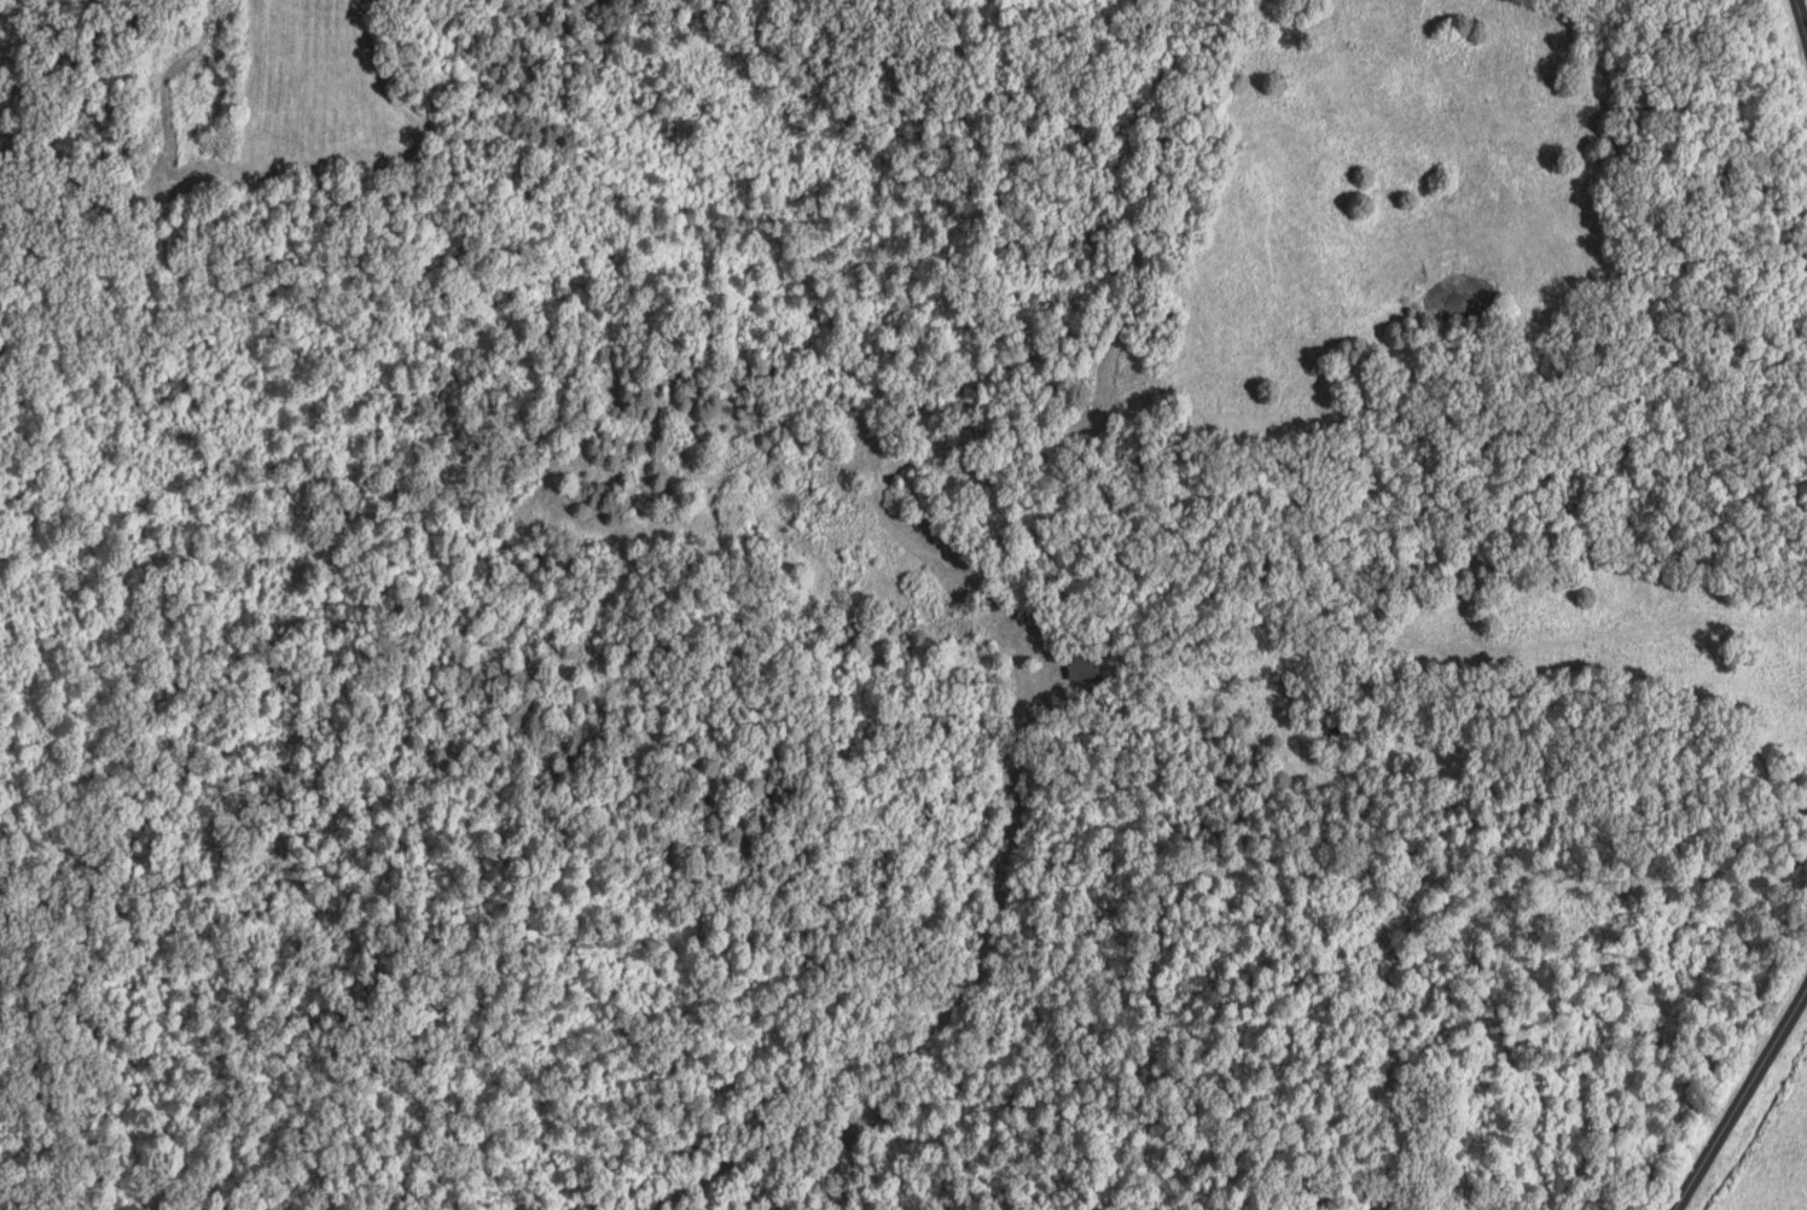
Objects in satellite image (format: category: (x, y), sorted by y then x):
road: (1800, 25)
building: (1082, 671)
road: (1741, 1096)

